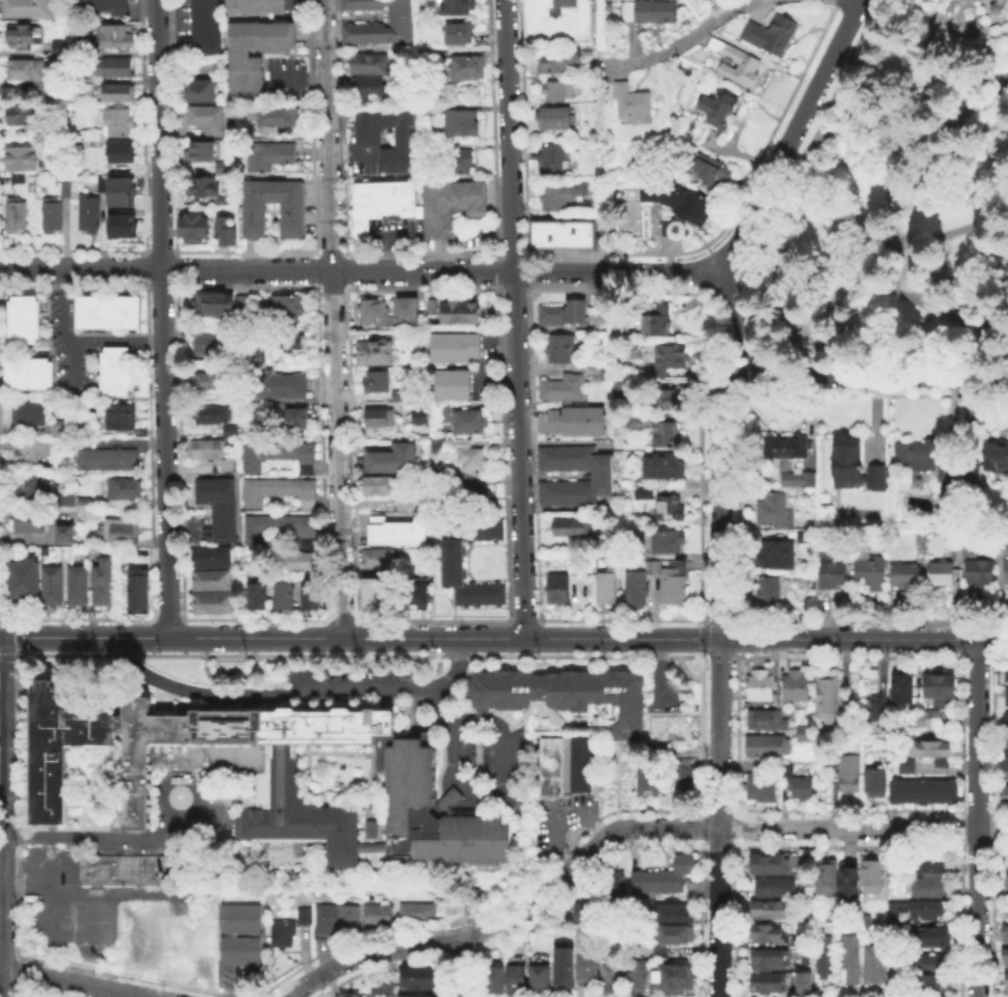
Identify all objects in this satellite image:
building: (102, 5)
building: (254, 5)
building: (455, 6)
building: (1000, 7)
building: (27, 9)
building: (655, 13)
building: (377, 23)
building: (561, 24)
building: (205, 26)
building: (457, 32)
building: (120, 33)
building: (771, 35)
building: (27, 37)
road: (678, 42)
building: (60, 49)
road: (923, 56)
building: (368, 62)
building: (557, 65)
building: (466, 66)
building: (27, 68)
building: (120, 68)
building: (750, 68)
building: (246, 76)
building: (367, 84)
building: (45, 86)
building: (198, 88)
building: (557, 92)
building: (119, 95)
building: (634, 105)
building: (721, 113)
building: (277, 114)
building: (22, 116)
building: (206, 117)
building: (557, 119)
building: (120, 122)
building: (459, 122)
building: (366, 134)
road: (972, 134)
road: (790, 135)
building: (91, 136)
building: (202, 149)
road: (913, 149)
road: (349, 150)
building: (124, 154)
building: (268, 155)
building: (554, 157)
building: (458, 159)
building: (21, 160)
building: (220, 166)
building: (711, 173)
building: (201, 184)
building: (67, 190)
building: (120, 190)
building: (564, 194)
building: (222, 199)
building: (381, 201)
building: (680, 203)
building: (450, 204)
park: (892, 208)
building: (90, 215)
building: (18, 217)
building: (54, 218)
building: (291, 219)
building: (120, 224)
building: (193, 226)
road: (489, 229)
building: (668, 229)
building: (224, 230)
road: (383, 233)
building: (565, 237)
road: (865, 262)
road: (358, 267)
road: (927, 301)
road: (61, 303)
building: (215, 303)
building: (431, 305)
building: (285, 307)
building: (387, 310)
building: (107, 311)
building: (457, 311)
building: (564, 316)
building: (22, 317)
road: (739, 317)
road: (162, 318)
road: (333, 318)
road: (513, 319)
building: (659, 322)
road: (996, 332)
road: (117, 338)
building: (285, 340)
building: (205, 342)
building: (453, 345)
building: (563, 350)
building: (373, 352)
building: (254, 353)
road: (73, 358)
building: (673, 358)
building: (116, 369)
building: (28, 372)
road: (873, 375)
building: (205, 379)
building: (375, 380)
building: (449, 383)
building: (277, 384)
building: (564, 389)
building: (626, 392)
building: (397, 394)
building: (670, 401)
building: (28, 412)
building: (442, 412)
building: (210, 413)
building: (120, 415)
building: (419, 415)
building: (294, 416)
building: (377, 416)
building: (467, 420)
building: (578, 423)
building: (637, 425)
building: (227, 429)
building: (668, 436)
building: (205, 447)
building: (789, 449)
building: (26, 450)
building: (277, 453)
building: (466, 454)
building: (107, 458)
building: (391, 458)
building: (998, 458)
building: (928, 463)
building: (855, 464)
building: (667, 469)
building: (973, 474)
building: (603, 477)
building: (796, 481)
building: (34, 483)
building: (376, 483)
building: (123, 487)
building: (475, 489)
building: (278, 490)
building: (648, 492)
building: (65, 498)
building: (402, 499)
building: (218, 504)
building: (671, 509)
building: (776, 512)
building: (28, 521)
building: (279, 527)
building: (123, 529)
building: (395, 530)
building: (573, 530)
building: (63, 532)
building: (806, 539)
building: (670, 542)
building: (1002, 543)
building: (959, 554)
building: (209, 556)
building: (376, 556)
building: (777, 557)
building: (297, 559)
building: (450, 560)
building: (870, 567)
building: (653, 569)
building: (1005, 570)
building: (982, 574)
building: (835, 575)
building: (944, 575)
building: (907, 576)
building: (21, 577)
building: (210, 578)
building: (102, 580)
building: (51, 584)
building: (76, 584)
building: (376, 586)
building: (675, 586)
building: (561, 589)
building: (608, 589)
building: (637, 589)
building: (138, 590)
building: (415, 590)
building: (770, 591)
building: (281, 594)
building: (308, 594)
building: (255, 595)
building: (211, 601)
road: (262, 638)
road: (766, 640)
building: (1007, 672)
road: (659, 673)
road: (719, 680)
building: (762, 687)
building: (902, 687)
building: (941, 687)
building: (798, 688)
road: (295, 691)
building: (565, 694)
building: (829, 695)
building: (1007, 695)
road: (439, 705)
building: (878, 709)
building: (766, 722)
building: (930, 722)
building: (1007, 723)
building: (806, 734)
building: (767, 747)
building: (928, 747)
building: (1004, 747)
building: (939, 762)
building: (905, 764)
building: (583, 766)
building: (554, 769)
building: (264, 773)
building: (1006, 773)
building: (851, 775)
building: (651, 778)
building: (685, 778)
road: (192, 781)
building: (874, 781)
road: (501, 785)
building: (802, 789)
building: (921, 789)
building: (760, 790)
building: (1006, 798)
road: (977, 818)
road: (2, 826)
building: (370, 827)
road: (863, 829)
road: (1, 833)
road: (95, 836)
road: (556, 838)
building: (932, 865)
building: (771, 866)
building: (124, 868)
building: (874, 871)
building: (1005, 874)
building: (828, 878)
building: (665, 879)
building: (848, 883)
building: (615, 887)
building: (777, 889)
building: (932, 890)
road: (89, 895)
building: (590, 911)
building: (928, 911)
building: (773, 912)
building: (895, 913)
building: (302, 914)
building: (419, 915)
building: (675, 915)
road: (507, 917)
building: (380, 918)
building: (352, 921)
building: (326, 923)
building: (181, 935)
building: (256, 936)
building: (676, 936)
building: (768, 936)
building: (1007, 936)
building: (285, 937)
building: (930, 938)
building: (661, 954)
building: (826, 960)
building: (1007, 960)
building: (769, 961)
building: (852, 961)
building: (934, 962)
building: (877, 965)
building: (207, 966)
road: (460, 966)
building: (590, 969)
building: (566, 970)
building: (541, 977)
building: (639, 977)
building: (673, 977)
building: (613, 978)
building: (494, 979)
building: (421, 980)
building: (517, 980)
building: (1005, 981)
road: (75, 982)
building: (770, 983)
building: (934, 983)
building: (806, 985)
building: (385, 988)
building: (348, 994)
building: (417, 995)

